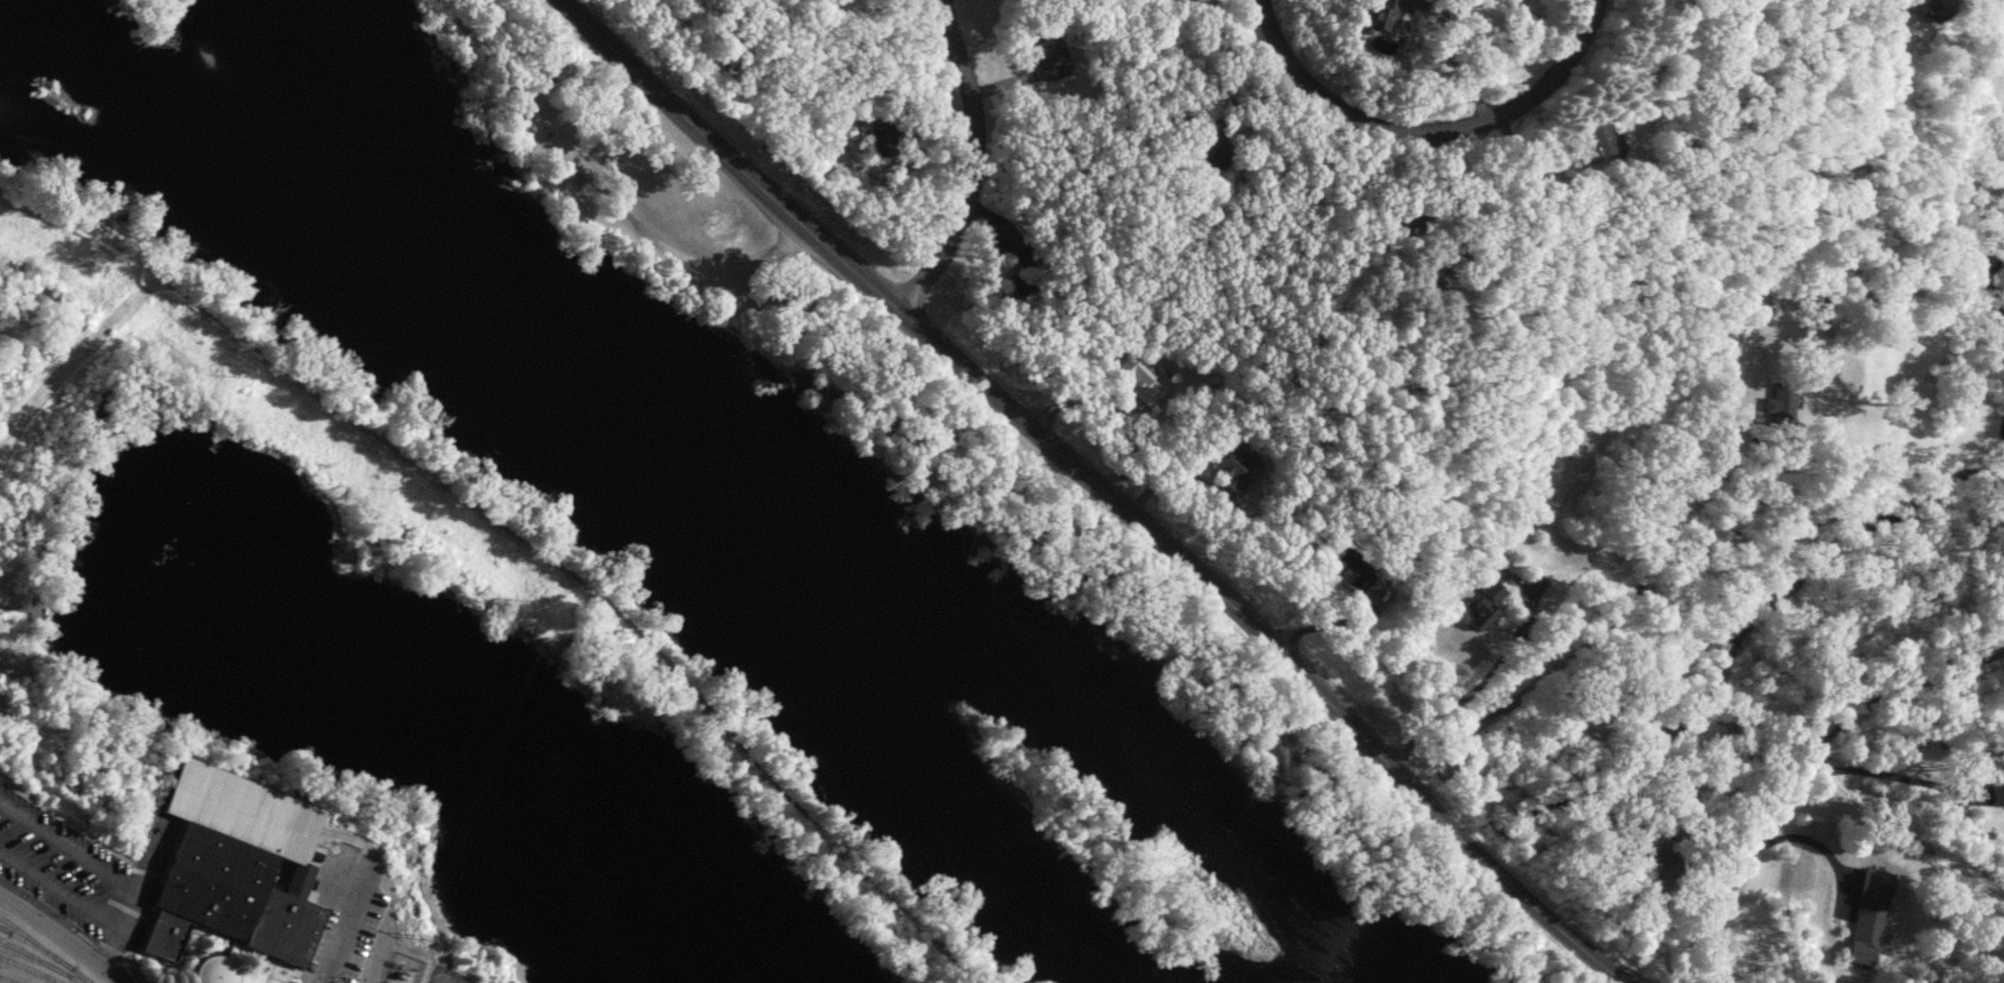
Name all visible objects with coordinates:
building: (1935, 9)
building: (1382, 15)
building: (1049, 56)
road: (1461, 63)
road: (503, 76)
road: (1430, 132)
building: (882, 137)
building: (1210, 138)
building: (1594, 141)
road: (972, 162)
parking lot: (595, 187)
park: (671, 203)
road: (672, 255)
building: (1441, 269)
building: (1140, 381)
building: (1779, 403)
road: (1115, 406)
road: (1689, 425)
building: (1231, 463)
river: (701, 466)
road: (1104, 484)
building: (1356, 568)
building: (1487, 591)
road: (1334, 620)
road: (1462, 696)
building: (1908, 749)
road: (1802, 765)
road: (1873, 770)
building: (1998, 792)
building: (1951, 812)
road: (1811, 839)
road: (80, 854)
building: (232, 865)
road: (57, 888)
road: (342, 925)
building: (1864, 932)
road: (60, 937)
railway: (29, 938)
road: (107, 947)
railway: (47, 953)
railway: (24, 956)
railway: (39, 961)
building: (207, 968)
railway: (31, 969)
railway: (7, 980)

